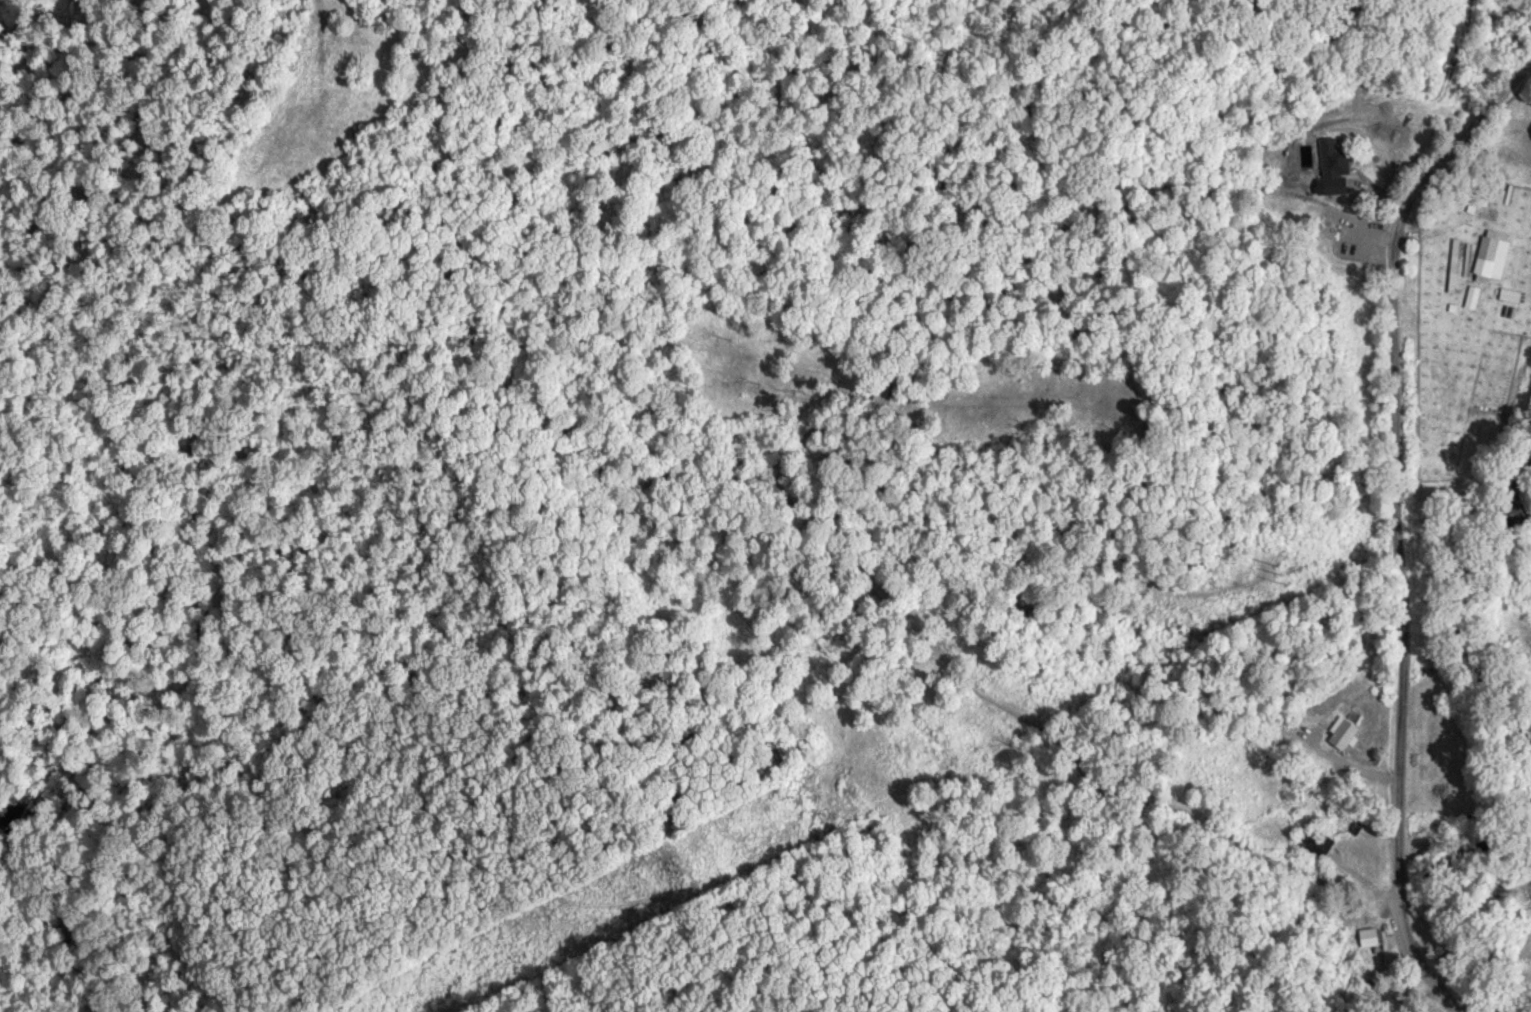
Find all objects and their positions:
building: (1329, 166)
building: (1483, 255)
building: (1506, 294)
road: (1397, 502)
power tower: (1281, 574)
building: (1337, 733)
building: (1310, 841)
power tower: (682, 870)
building: (1368, 936)

